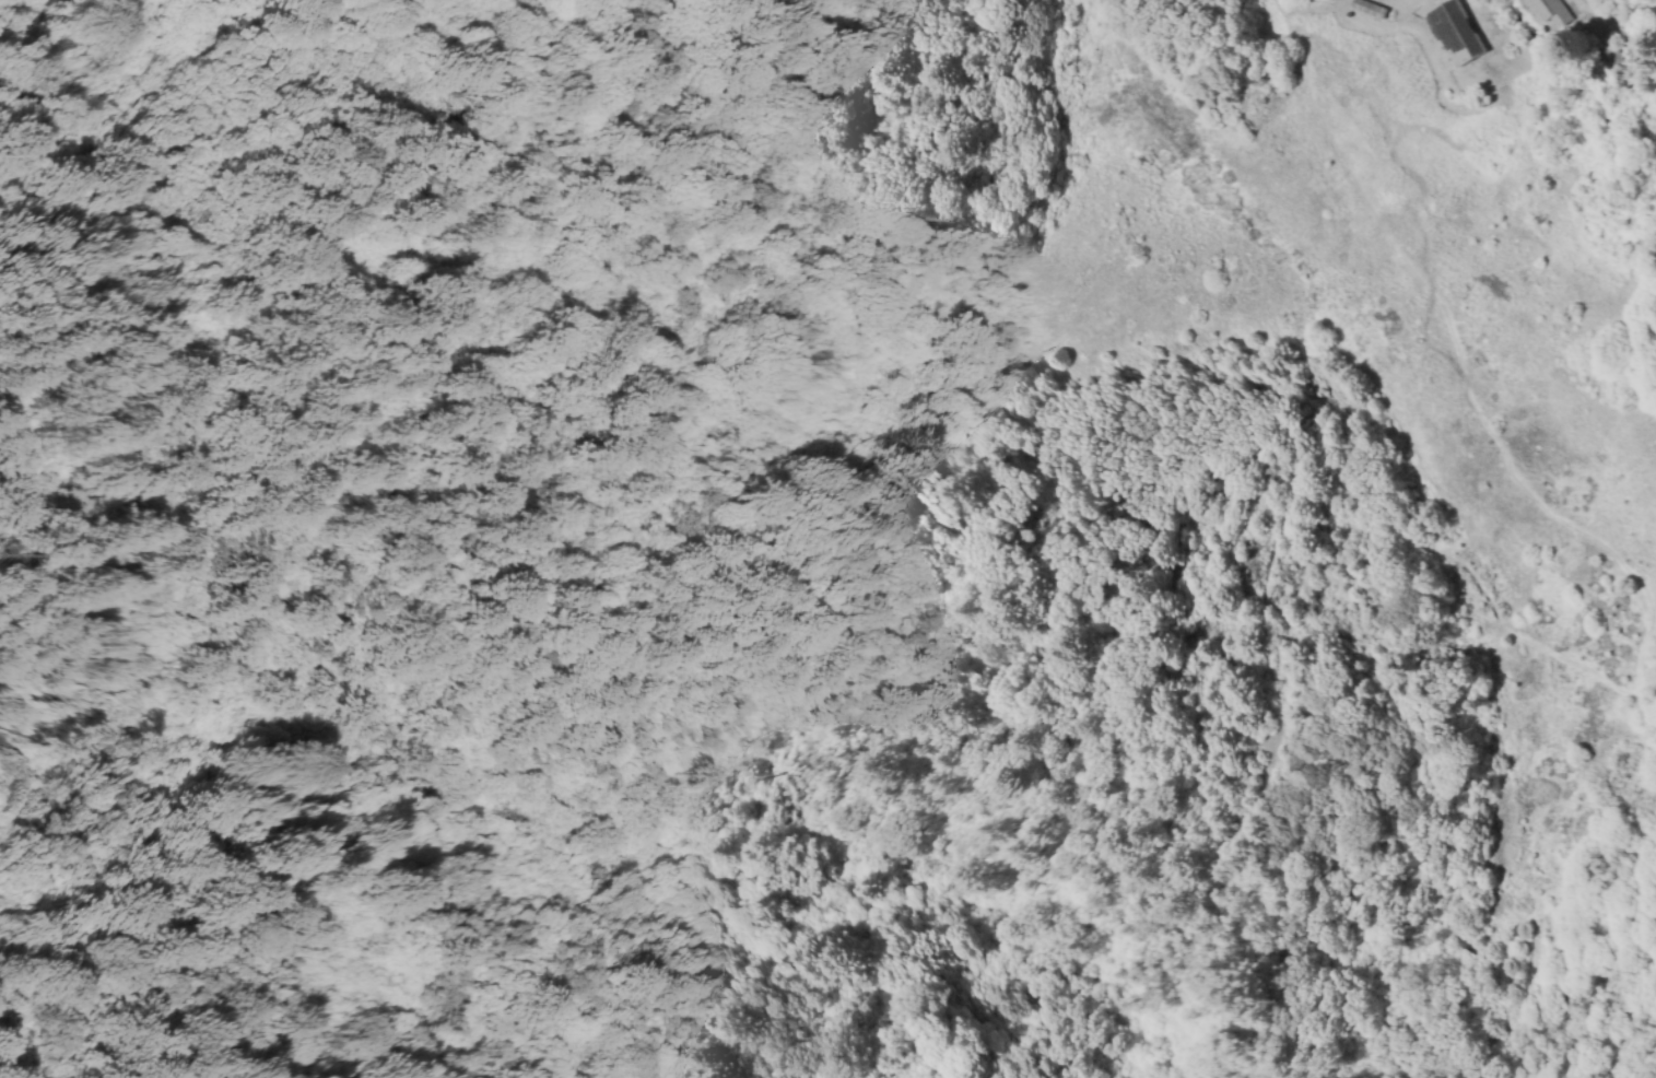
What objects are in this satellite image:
building: (1459, 34)
road: (1458, 355)
road: (797, 571)
road: (1646, 705)

